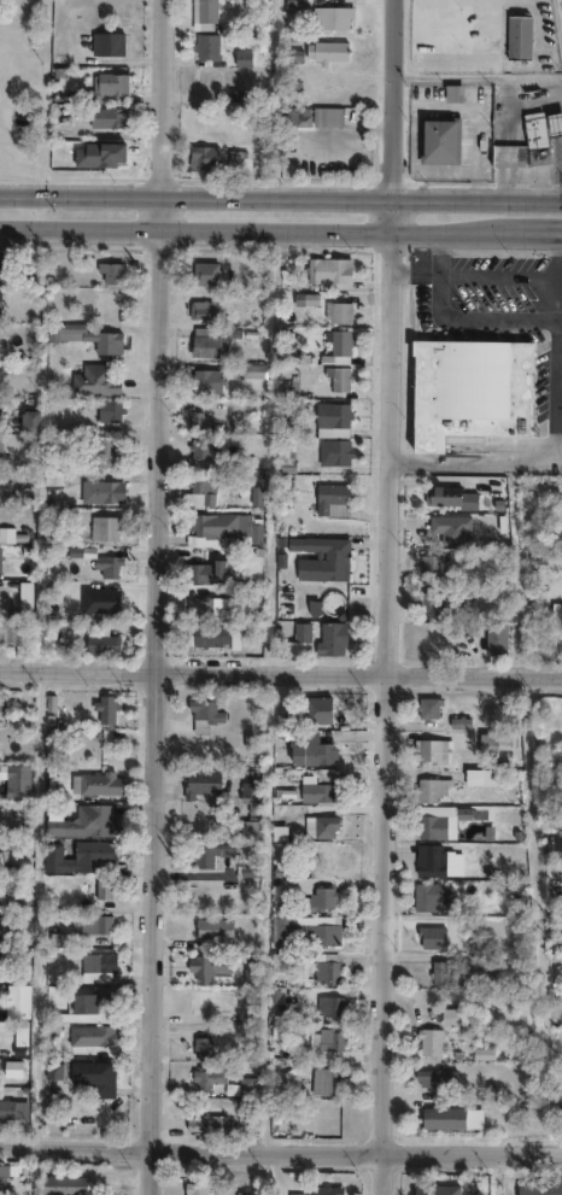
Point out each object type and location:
building: (295, 5)
building: (206, 10)
building: (333, 14)
building: (101, 35)
building: (521, 37)
building: (110, 43)
building: (206, 45)
building: (327, 49)
building: (242, 57)
building: (103, 78)
building: (205, 81)
building: (115, 84)
building: (455, 93)
road: (166, 96)
road: (393, 98)
road: (475, 111)
building: (100, 112)
building: (294, 116)
building: (555, 123)
road: (350, 133)
building: (441, 140)
building: (527, 147)
building: (195, 151)
building: (228, 153)
road: (416, 166)
road: (280, 194)
road: (258, 233)
road: (538, 236)
building: (1, 263)
building: (327, 268)
building: (110, 269)
road: (435, 273)
building: (204, 274)
road: (520, 275)
road: (557, 303)
building: (1, 304)
building: (335, 307)
building: (199, 309)
building: (83, 334)
building: (336, 339)
building: (209, 340)
building: (251, 368)
building: (336, 375)
building: (94, 379)
building: (204, 380)
building: (470, 387)
road: (555, 389)
building: (1, 408)
building: (106, 409)
building: (336, 414)
building: (27, 420)
building: (197, 421)
building: (0, 443)
building: (198, 447)
building: (101, 451)
building: (333, 452)
road: (557, 455)
building: (282, 457)
road: (472, 463)
building: (96, 490)
building: (197, 491)
building: (453, 498)
building: (330, 499)
building: (101, 527)
building: (201, 528)
building: (455, 532)
building: (1, 558)
building: (93, 558)
building: (320, 568)
building: (435, 569)
building: (204, 570)
building: (437, 605)
building: (206, 608)
building: (8, 631)
building: (212, 634)
building: (98, 637)
building: (329, 638)
building: (295, 640)
building: (499, 644)
road: (280, 674)
road: (158, 693)
road: (390, 696)
building: (1, 704)
building: (426, 705)
building: (105, 708)
building: (310, 708)
building: (201, 710)
building: (12, 722)
building: (490, 742)
building: (428, 749)
building: (311, 750)
building: (479, 774)
building: (198, 780)
building: (18, 781)
building: (99, 783)
building: (317, 785)
building: (429, 787)
building: (247, 796)
building: (431, 820)
building: (83, 822)
building: (321, 824)
building: (209, 851)
building: (78, 857)
building: (435, 860)
building: (104, 889)
building: (316, 897)
building: (431, 898)
building: (95, 925)
building: (211, 926)
building: (5, 927)
building: (302, 931)
building: (94, 962)
building: (206, 963)
building: (323, 968)
building: (440, 972)
building: (558, 1002)
building: (93, 1006)
building: (200, 1006)
building: (327, 1006)
building: (447, 1018)
building: (103, 1036)
building: (327, 1038)
building: (17, 1039)
building: (427, 1043)
building: (199, 1045)
building: (484, 1053)
building: (16, 1068)
building: (52, 1068)
building: (205, 1076)
building: (92, 1077)
building: (433, 1077)
building: (23, 1078)
building: (320, 1080)
building: (242, 1085)
building: (6, 1108)
building: (441, 1117)
building: (204, 1121)
road: (280, 1148)
building: (1, 1176)
building: (63, 1185)
building: (538, 1185)
building: (194, 1187)
building: (322, 1188)
building: (422, 1188)

